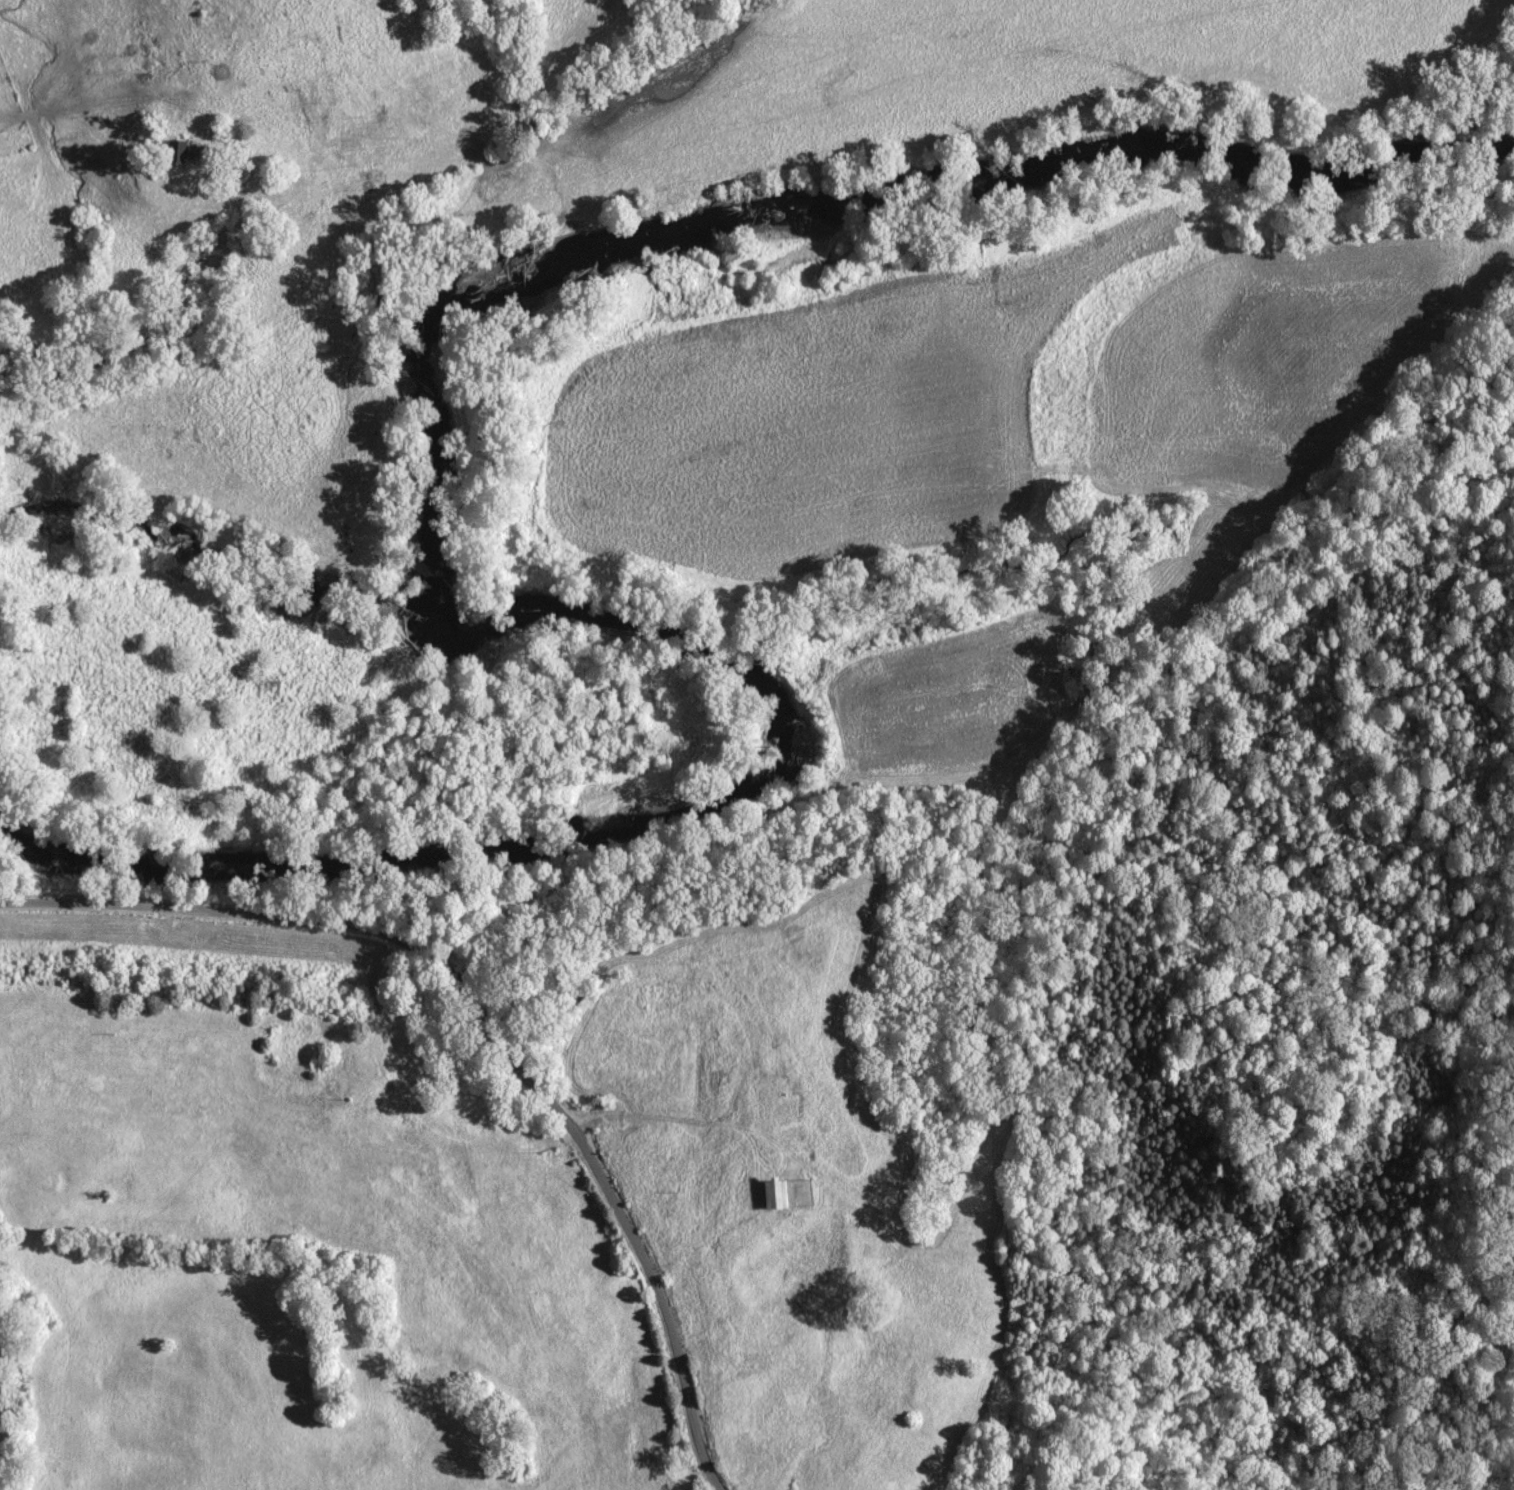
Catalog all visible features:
building: (175, 151)
road: (493, 1021)
building: (715, 1078)
building: (783, 1193)

